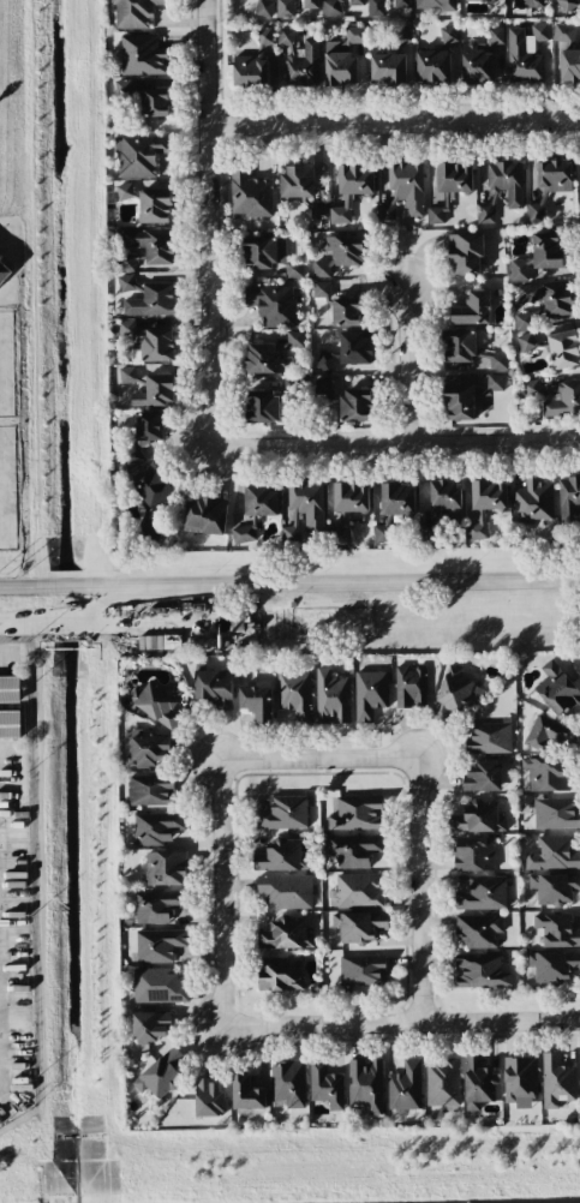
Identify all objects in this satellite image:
building: (477, 0)
building: (355, 2)
building: (310, 4)
building: (401, 4)
building: (530, 4)
building: (435, 5)
building: (567, 5)
building: (376, 7)
building: (264, 8)
building: (285, 8)
building: (331, 8)
building: (133, 13)
building: (563, 32)
building: (448, 35)
building: (401, 36)
building: (494, 36)
building: (286, 38)
building: (525, 53)
building: (142, 55)
building: (342, 58)
building: (253, 62)
building: (476, 65)
building: (569, 65)
building: (303, 66)
building: (432, 66)
building: (388, 68)
building: (154, 102)
road: (395, 126)
building: (138, 155)
building: (554, 175)
building: (454, 178)
building: (297, 181)
building: (501, 188)
building: (351, 190)
building: (403, 190)
building: (250, 193)
building: (149, 203)
building: (537, 205)
building: (315, 209)
building: (435, 215)
building: (151, 244)
building: (546, 250)
building: (259, 252)
building: (339, 253)
building: (465, 253)
road: (210, 257)
building: (126, 262)
building: (293, 269)
building: (520, 270)
building: (126, 282)
building: (321, 289)
building: (151, 300)
building: (545, 301)
building: (273, 305)
building: (473, 309)
building: (345, 312)
building: (124, 328)
building: (293, 340)
building: (526, 342)
building: (157, 345)
building: (467, 349)
building: (563, 349)
building: (347, 352)
building: (263, 359)
road: (407, 364)
building: (127, 375)
building: (293, 388)
building: (323, 388)
building: (531, 388)
building: (155, 391)
building: (470, 397)
building: (560, 399)
building: (355, 405)
building: (262, 406)
building: (148, 426)
road: (570, 439)
road: (425, 443)
building: (149, 486)
building: (489, 495)
building: (446, 496)
building: (259, 498)
building: (568, 499)
building: (533, 501)
building: (393, 507)
building: (347, 508)
building: (304, 509)
building: (205, 516)
building: (477, 527)
building: (244, 534)
road: (388, 582)
road: (113, 587)
road: (16, 588)
road: (97, 605)
road: (2, 656)
building: (214, 687)
building: (409, 687)
building: (10, 689)
building: (556, 689)
building: (295, 694)
building: (370, 694)
building: (453, 694)
building: (331, 698)
building: (154, 704)
building: (257, 704)
building: (10, 724)
building: (546, 732)
building: (488, 737)
building: (145, 749)
road: (313, 760)
building: (546, 773)
building: (482, 777)
building: (150, 790)
building: (283, 813)
building: (357, 813)
building: (478, 818)
building: (156, 827)
building: (353, 850)
building: (473, 854)
building: (554, 854)
building: (281, 856)
building: (166, 868)
building: (555, 888)
road: (412, 890)
building: (285, 891)
building: (358, 891)
building: (482, 893)
building: (157, 905)
building: (359, 926)
building: (556, 929)
building: (478, 930)
building: (286, 934)
road: (215, 936)
building: (159, 945)
building: (552, 965)
building: (361, 970)
building: (479, 971)
building: (279, 974)
building: (159, 986)
road: (440, 1021)
building: (150, 1027)
building: (160, 1075)
building: (520, 1078)
building: (557, 1081)
building: (442, 1082)
building: (478, 1082)
building: (288, 1083)
building: (365, 1084)
building: (325, 1085)
building: (405, 1087)
building: (246, 1094)
building: (209, 1097)

